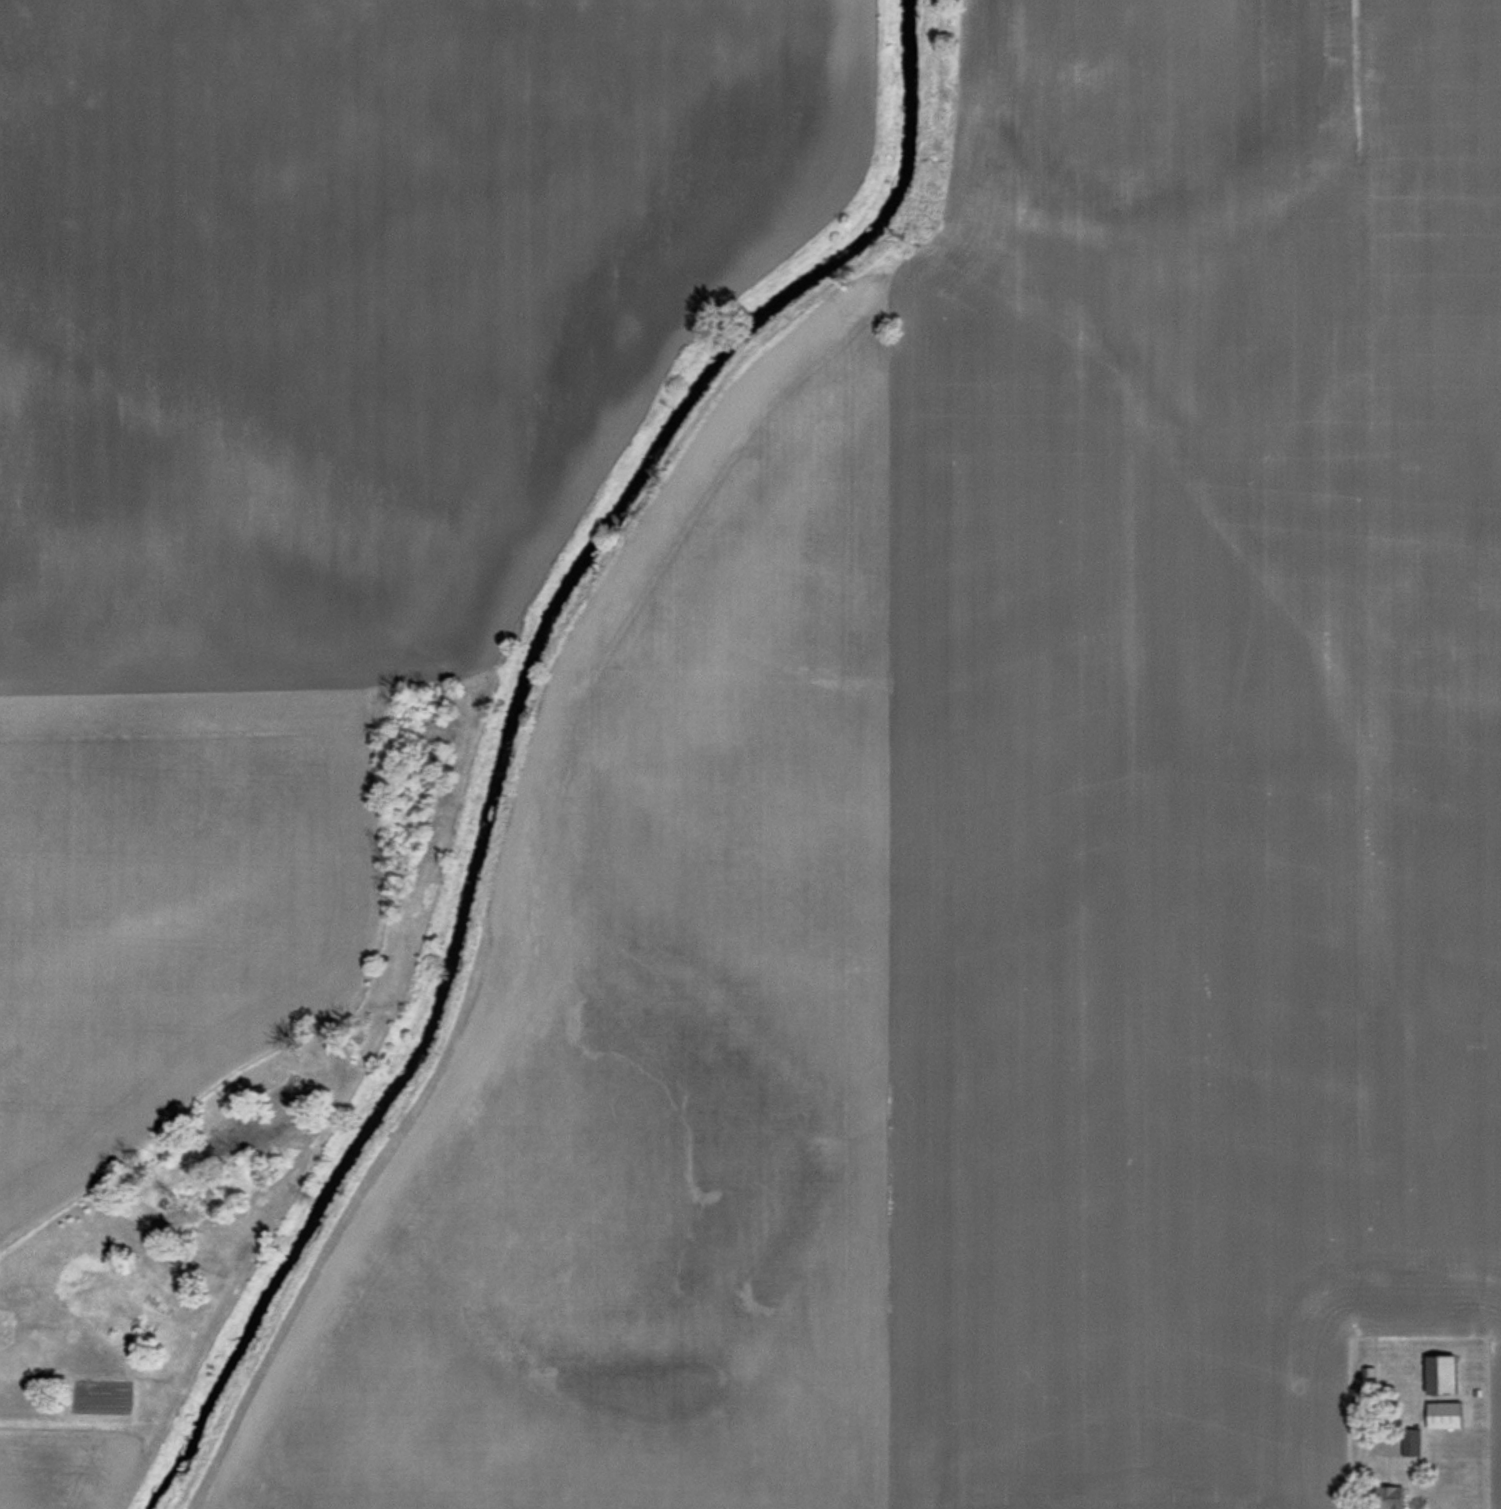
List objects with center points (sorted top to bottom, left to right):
building: (1447, 1375)
building: (1448, 1415)
building: (1413, 1442)
road: (1356, 1479)
building: (1397, 1497)

